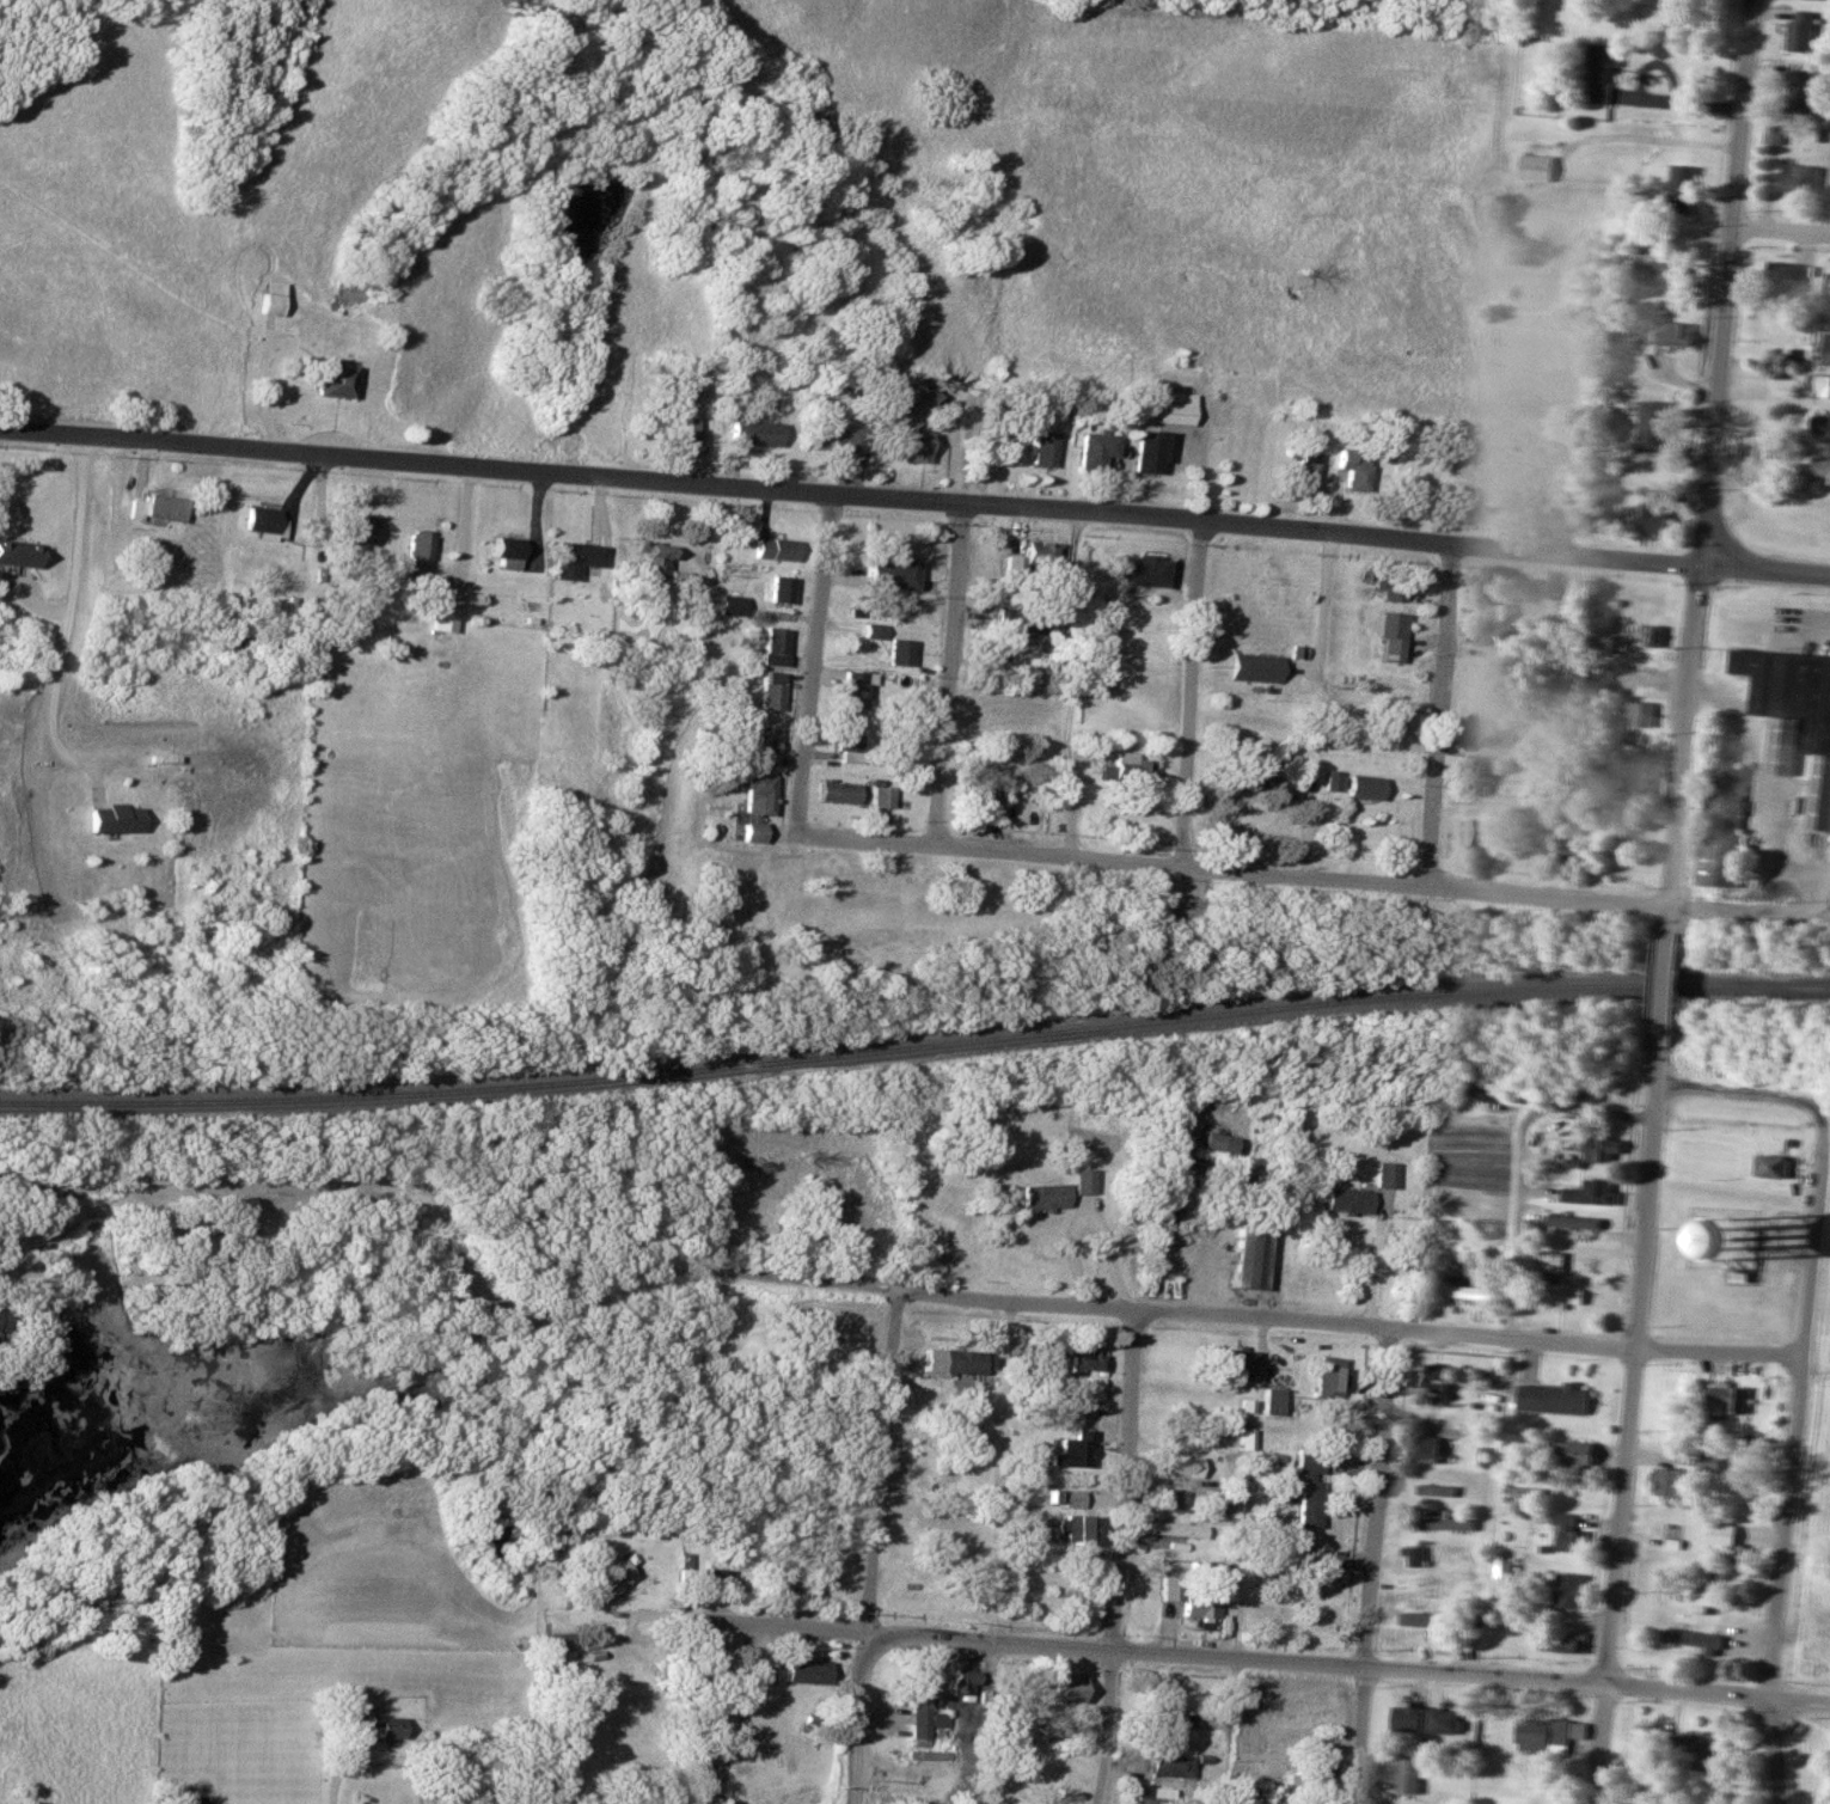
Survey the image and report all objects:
building: (1816, 0)
building: (1799, 32)
building: (1601, 74)
building: (1800, 93)
building: (1535, 169)
building: (1799, 178)
building: (1681, 190)
road: (1781, 231)
building: (1663, 275)
building: (1782, 279)
building: (268, 305)
building: (1675, 335)
building: (1825, 350)
building: (330, 381)
building: (1818, 386)
building: (1170, 415)
building: (1819, 424)
building: (669, 427)
building: (1652, 427)
building: (751, 434)
building: (834, 440)
building: (906, 446)
building: (1041, 448)
building: (1094, 450)
building: (1143, 455)
road: (1709, 465)
building: (1352, 469)
building: (1820, 469)
building: (1303, 470)
road: (914, 501)
building: (152, 508)
building: (1650, 516)
building: (262, 521)
building: (355, 530)
building: (415, 546)
building: (772, 549)
building: (501, 551)
building: (1042, 551)
building: (16, 552)
building: (569, 557)
building: (648, 559)
building: (1138, 569)
building: (887, 573)
road: (73, 586)
building: (778, 588)
building: (1388, 589)
building: (728, 604)
building: (1493, 612)
building: (439, 618)
building: (1022, 620)
building: (1387, 635)
building: (1654, 635)
building: (384, 643)
building: (773, 646)
building: (898, 652)
road: (813, 666)
building: (1254, 667)
road: (947, 674)
building: (852, 689)
building: (769, 690)
road: (1188, 695)
building: (1639, 713)
road: (1438, 715)
building: (1794, 717)
building: (1480, 730)
building: (1391, 733)
building: (849, 744)
building: (763, 745)
building: (1127, 769)
building: (1237, 771)
building: (1475, 772)
building: (1326, 779)
building: (1646, 782)
building: (1359, 785)
building: (836, 793)
building: (1045, 793)
building: (984, 795)
building: (881, 803)
building: (754, 805)
building: (111, 817)
building: (1722, 825)
building: (1477, 834)
building: (1567, 848)
road: (1300, 876)
road: (1819, 912)
road: (1661, 991)
railway: (914, 1044)
building: (1206, 1142)
building: (1599, 1149)
building: (1770, 1166)
building: (1387, 1173)
building: (1081, 1180)
building: (1590, 1193)
building: (1041, 1195)
building: (1349, 1197)
building: (1155, 1206)
building: (1572, 1222)
building: (1245, 1255)
building: (1553, 1278)
road: (873, 1288)
building: (1467, 1291)
building: (1082, 1358)
building: (949, 1360)
building: (1235, 1364)
road: (1800, 1375)
building: (1326, 1376)
building: (1427, 1376)
building: (1551, 1396)
building: (1726, 1400)
building: (1269, 1401)
road: (1628, 1427)
building: (1241, 1438)
building: (1422, 1448)
building: (1071, 1449)
building: (1577, 1451)
building: (1708, 1462)
building: (1176, 1466)
building: (1671, 1481)
building: (1305, 1487)
building: (1444, 1490)
building: (1525, 1491)
building: (1069, 1498)
building: (1170, 1499)
building: (1217, 1499)
building: (1433, 1525)
building: (1069, 1529)
building: (1174, 1529)
building: (1566, 1530)
building: (1722, 1534)
road: (870, 1546)
building: (1413, 1555)
road: (1119, 1557)
building: (1338, 1563)
building: (1504, 1565)
road: (1373, 1566)
building: (1314, 1577)
building: (718, 1580)
building: (1406, 1585)
building: (1567, 1590)
building: (1189, 1600)
building: (1424, 1620)
road: (769, 1622)
building: (1694, 1640)
building: (556, 1641)
building: (1563, 1641)
road: (1347, 1664)
building: (804, 1671)
building: (960, 1681)
building: (1066, 1690)
building: (1165, 1707)
building: (920, 1708)
building: (348, 1711)
building: (1404, 1718)
building: (1443, 1722)
building: (379, 1726)
building: (1542, 1736)
building: (1691, 1748)
building: (1170, 1766)
building: (1408, 1774)
building: (1318, 1779)
building: (1152, 1794)
building: (1253, 1794)

